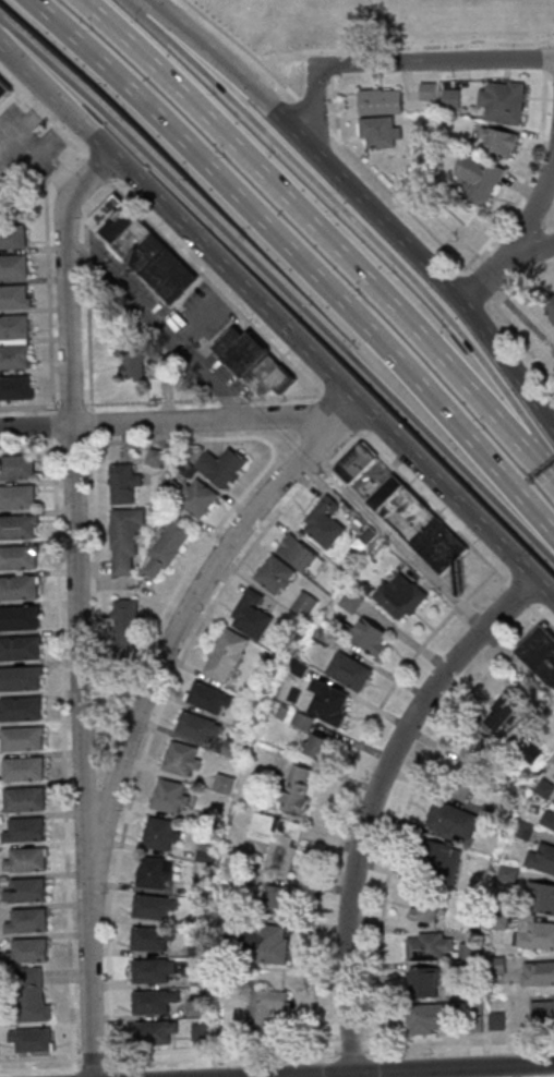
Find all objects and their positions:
road: (392, 20)
park: (373, 25)
road: (429, 46)
road: (243, 48)
road: (435, 61)
road: (543, 68)
building: (429, 92)
road: (334, 94)
building: (5, 95)
building: (453, 98)
building: (382, 101)
building: (504, 102)
road: (314, 106)
road: (313, 114)
building: (381, 131)
building: (499, 143)
parking lot: (27, 144)
building: (480, 178)
road: (366, 196)
road: (399, 201)
road: (348, 218)
road: (309, 226)
road: (162, 233)
road: (521, 237)
building: (13, 238)
building: (144, 247)
road: (300, 263)
building: (14, 266)
road: (510, 274)
road: (48, 276)
road: (479, 285)
road: (279, 286)
road: (87, 292)
building: (15, 297)
building: (550, 305)
road: (278, 319)
parking lot: (174, 320)
road: (161, 323)
road: (522, 340)
building: (14, 341)
building: (256, 363)
building: (134, 367)
building: (16, 387)
road: (202, 399)
road: (70, 404)
road: (29, 406)
road: (340, 414)
road: (181, 422)
road: (91, 424)
road: (53, 425)
road: (73, 443)
road: (29, 445)
building: (358, 462)
building: (17, 468)
building: (222, 468)
road: (543, 472)
building: (124, 484)
road: (251, 484)
building: (17, 498)
building: (198, 499)
road: (433, 508)
building: (325, 522)
building: (424, 525)
building: (19, 528)
building: (125, 541)
building: (168, 548)
building: (301, 554)
building: (19, 557)
road: (96, 567)
building: (277, 574)
road: (432, 579)
building: (20, 588)
road: (519, 593)
building: (401, 595)
building: (351, 601)
building: (305, 605)
road: (76, 606)
road: (184, 615)
road: (541, 615)
building: (253, 616)
building: (20, 617)
building: (127, 626)
building: (371, 636)
building: (21, 648)
building: (540, 654)
building: (226, 656)
building: (349, 671)
building: (21, 679)
building: (209, 699)
building: (333, 709)
building: (21, 710)
building: (507, 713)
road: (155, 722)
building: (198, 728)
building: (22, 739)
building: (318, 747)
building: (480, 750)
road: (63, 757)
building: (182, 759)
building: (24, 770)
building: (461, 785)
building: (298, 790)
road: (340, 790)
building: (171, 797)
building: (25, 800)
road: (372, 801)
road: (404, 814)
building: (549, 819)
building: (454, 821)
building: (25, 830)
building: (525, 831)
building: (162, 835)
building: (277, 839)
building: (441, 856)
building: (541, 857)
building: (27, 860)
building: (166, 873)
building: (26, 890)
building: (543, 894)
building: (277, 899)
building: (154, 908)
building: (424, 909)
building: (28, 920)
building: (535, 935)
building: (150, 940)
building: (274, 945)
building: (429, 946)
building: (31, 949)
building: (469, 952)
building: (153, 971)
building: (538, 975)
building: (424, 981)
building: (32, 994)
building: (154, 1002)
building: (265, 1007)
building: (196, 1008)
building: (543, 1012)
building: (432, 1018)
building: (157, 1031)
building: (200, 1031)
road: (458, 1037)
building: (33, 1039)
road: (350, 1041)
road: (221, 1048)
road: (93, 1054)
road: (40, 1056)
road: (386, 1066)
road: (317, 1067)
road: (413, 1069)

